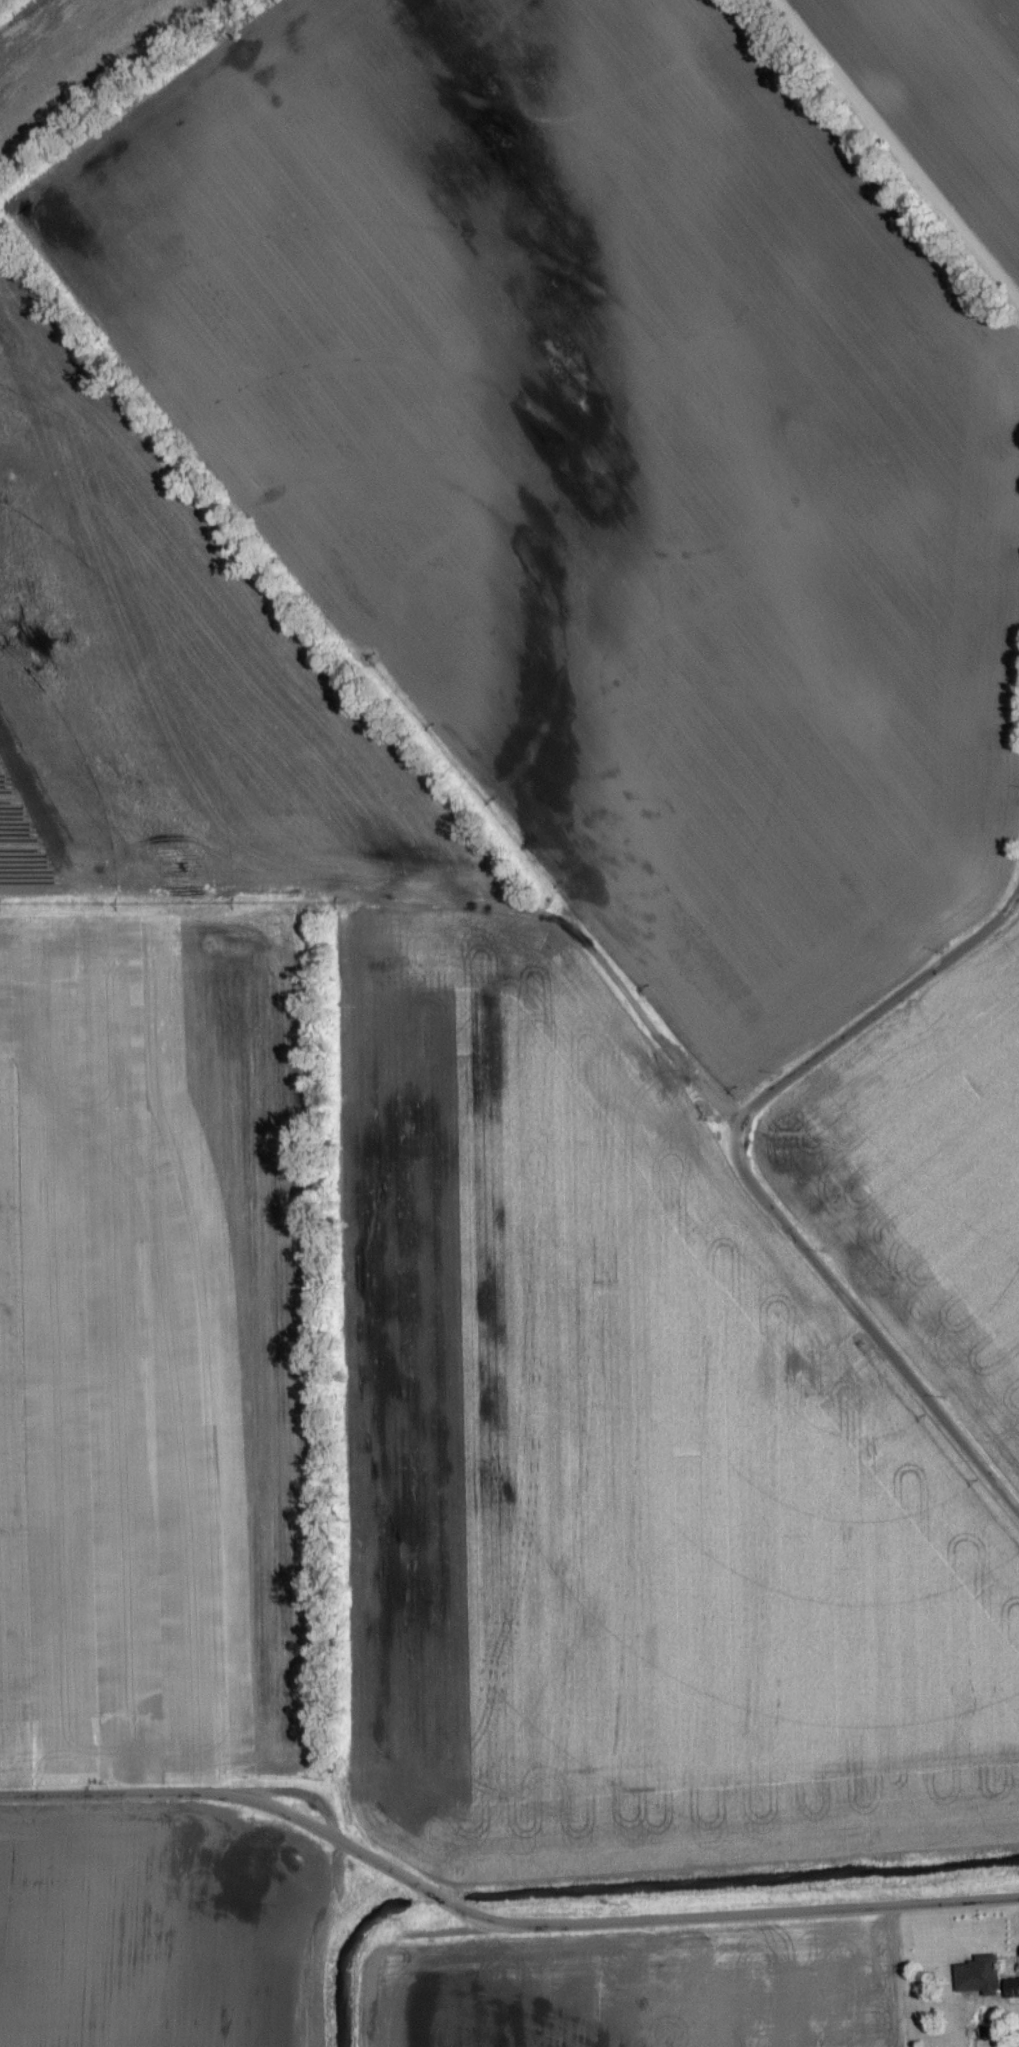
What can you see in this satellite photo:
road: (897, 153)
road: (754, 1188)
road: (501, 1934)
building: (979, 1983)
building: (1012, 1996)

